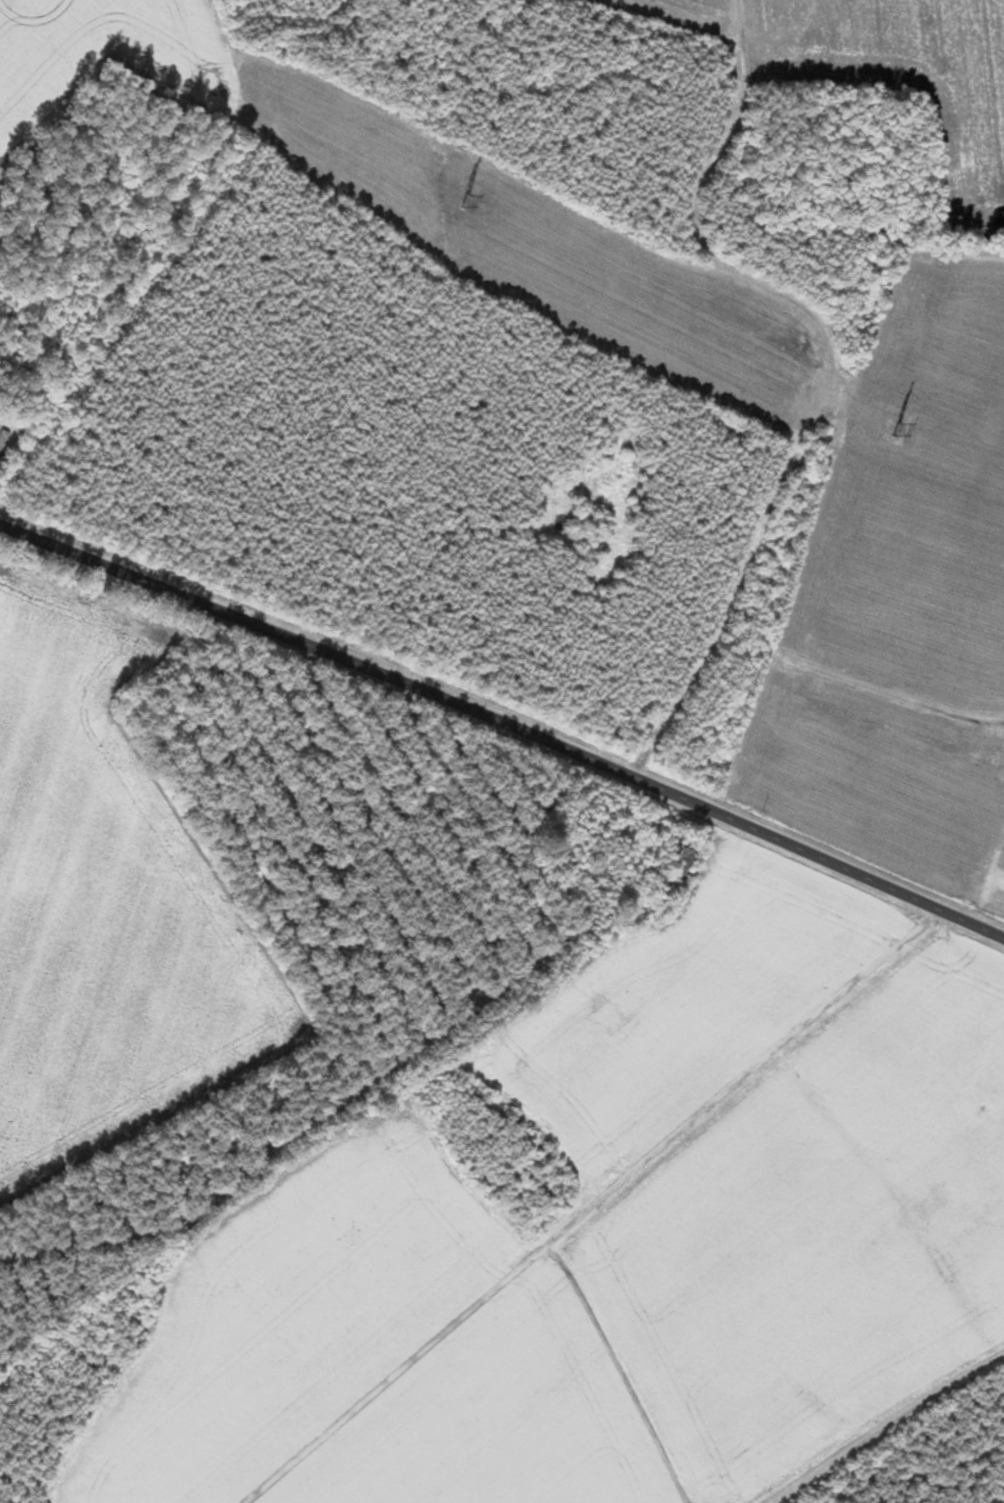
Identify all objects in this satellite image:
power tower: (464, 201)
power tower: (894, 430)
building: (1, 436)
road: (505, 723)
building: (1001, 773)
building: (1001, 851)
building: (673, 853)
road: (602, 1214)

